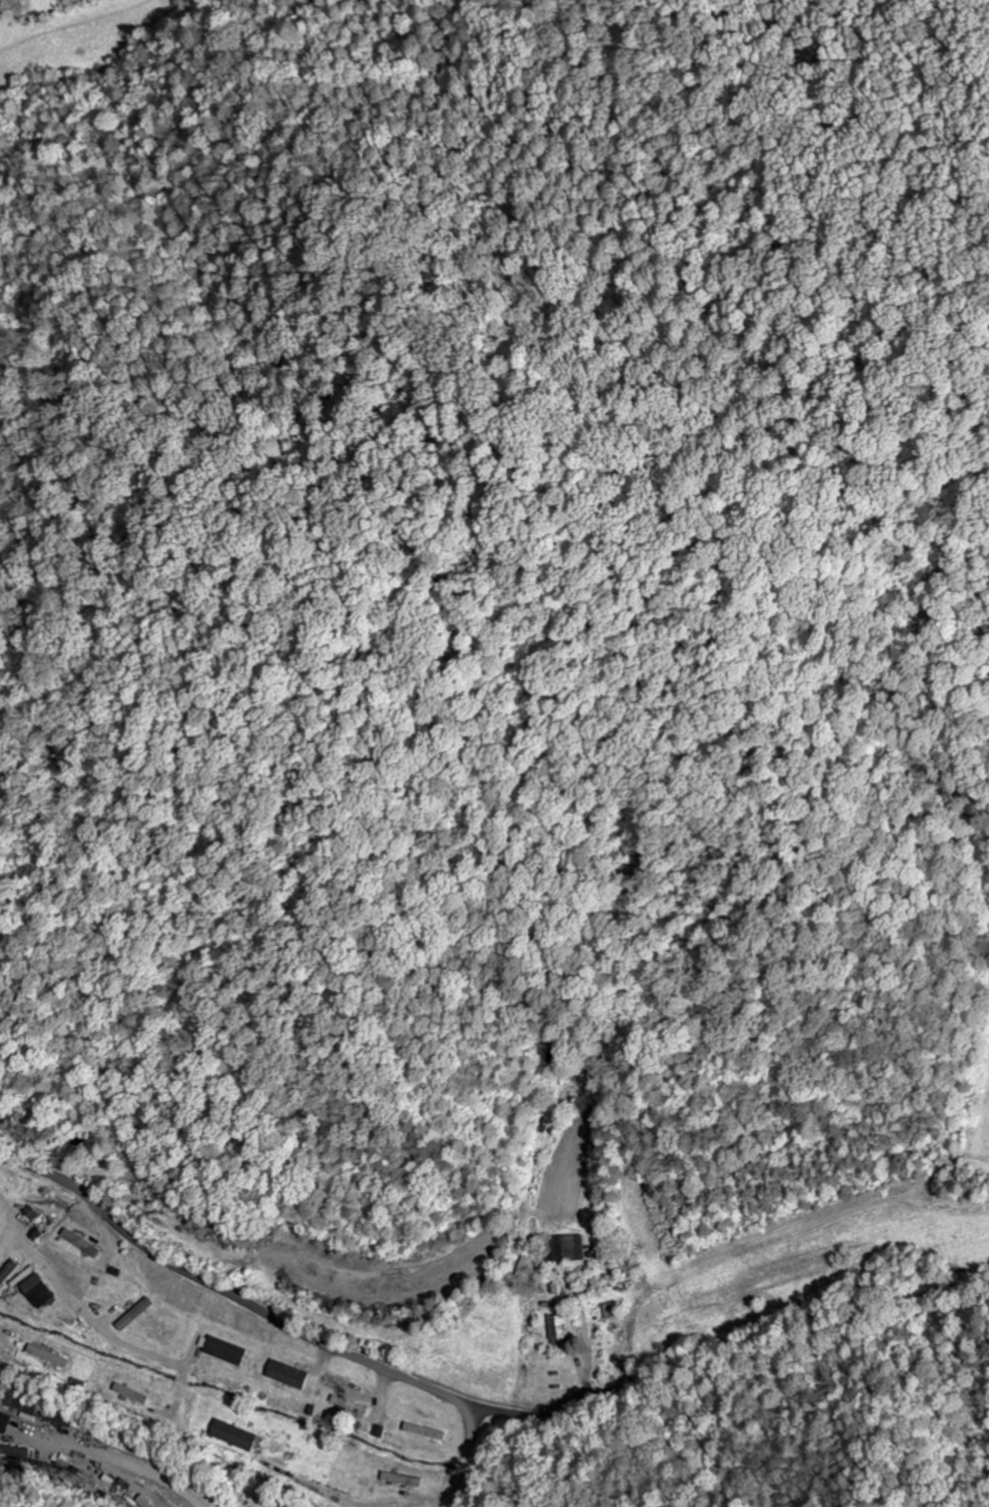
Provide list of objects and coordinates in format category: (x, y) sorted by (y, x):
building: (33, 1217)
building: (86, 1243)
building: (575, 1249)
building: (10, 1274)
building: (43, 1290)
building: (616, 1311)
building: (139, 1314)
road: (285, 1322)
building: (563, 1328)
building: (227, 1350)
building: (291, 1375)
building: (354, 1406)
building: (6, 1421)
building: (238, 1435)

